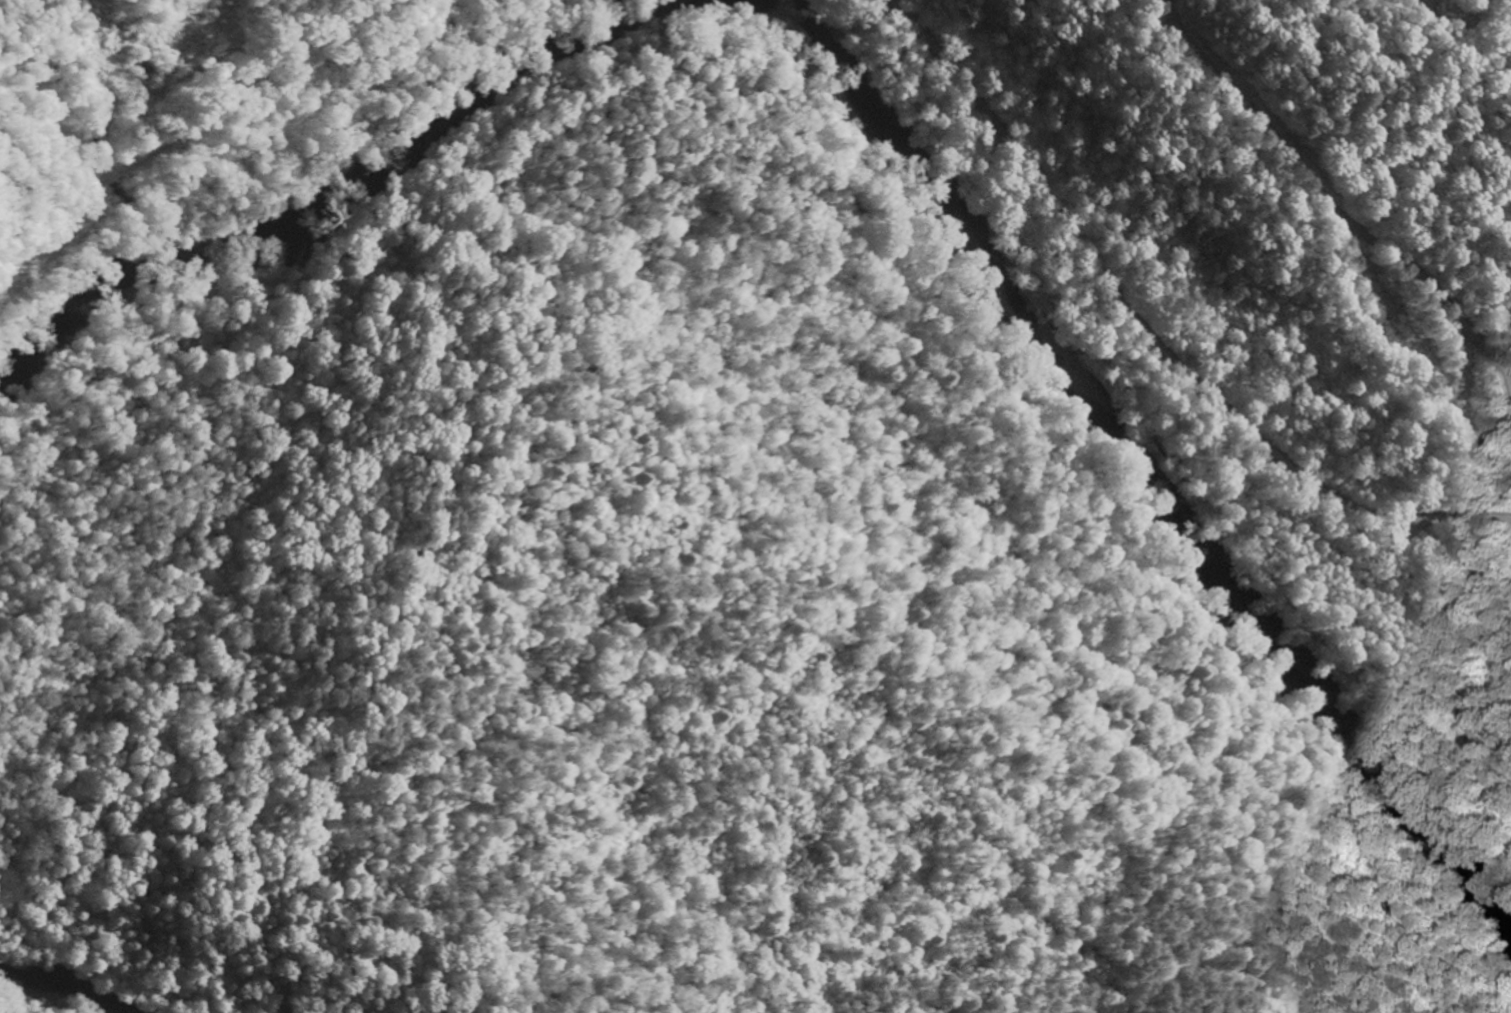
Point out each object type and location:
park: (1437, 14)
road: (174, 132)
road: (1333, 207)
road: (1159, 338)
road: (1453, 516)

